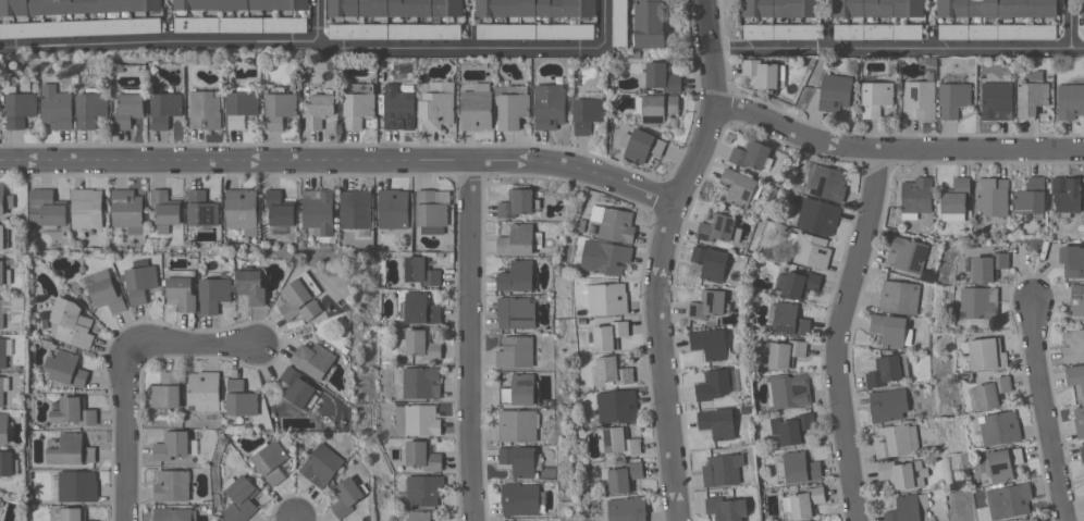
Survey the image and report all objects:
building: (241, 4)
building: (73, 7)
building: (537, 8)
building: (780, 8)
building: (878, 8)
building: (998, 8)
building: (1083, 8)
building: (393, 9)
road: (317, 22)
building: (620, 23)
building: (241, 24)
building: (649, 24)
road: (1072, 25)
building: (79, 27)
building: (395, 30)
building: (535, 30)
building: (779, 30)
building: (998, 30)
building: (878, 32)
building: (1083, 34)
road: (323, 44)
road: (898, 49)
building: (637, 52)
building: (765, 73)
building: (663, 77)
building: (835, 91)
building: (1032, 97)
building: (876, 98)
building: (921, 99)
building: (953, 99)
building: (998, 100)
building: (1070, 100)
building: (358, 103)
building: (550, 106)
building: (58, 107)
building: (91, 107)
building: (130, 107)
building: (242, 107)
building: (280, 107)
building: (436, 107)
building: (477, 108)
building: (513, 108)
building: (21, 109)
building: (165, 109)
building: (206, 109)
building: (655, 109)
building: (319, 110)
building: (399, 110)
building: (587, 114)
building: (643, 146)
road: (896, 149)
building: (752, 154)
road: (342, 160)
building: (828, 183)
building: (740, 187)
building: (1068, 193)
building: (917, 195)
building: (957, 196)
building: (994, 196)
building: (1031, 197)
building: (2, 199)
building: (518, 202)
building: (87, 208)
building: (280, 208)
building: (393, 208)
building: (432, 208)
building: (47, 210)
building: (127, 210)
building: (165, 210)
building: (242, 210)
building: (318, 210)
building: (356, 210)
building: (201, 211)
building: (818, 215)
building: (614, 223)
building: (720, 228)
building: (431, 230)
building: (3, 236)
building: (520, 239)
building: (810, 249)
building: (907, 255)
road: (663, 256)
building: (609, 258)
building: (1072, 261)
building: (711, 262)
building: (988, 266)
building: (421, 271)
building: (4, 274)
building: (519, 276)
building: (140, 280)
building: (252, 284)
building: (800, 284)
building: (182, 289)
building: (214, 293)
building: (107, 295)
building: (301, 297)
building: (899, 297)
building: (605, 298)
building: (1076, 300)
building: (980, 302)
building: (710, 303)
building: (419, 309)
building: (517, 311)
building: (2, 313)
building: (789, 320)
building: (72, 323)
building: (892, 330)
road: (841, 334)
building: (609, 335)
road: (471, 340)
building: (711, 343)
building: (422, 344)
building: (1073, 346)
building: (516, 351)
building: (3, 352)
building: (786, 352)
building: (986, 352)
building: (315, 359)
building: (66, 368)
road: (127, 370)
building: (613, 370)
building: (888, 370)
building: (1075, 374)
building: (421, 382)
building: (714, 384)
building: (3, 387)
building: (297, 387)
building: (519, 389)
building: (205, 390)
building: (788, 390)
building: (165, 392)
building: (993, 392)
building: (241, 398)
building: (889, 405)
building: (617, 406)
building: (74, 411)
road: (1047, 411)
building: (417, 420)
building: (1080, 421)
building: (718, 422)
building: (518, 425)
building: (5, 427)
building: (999, 427)
building: (792, 429)
building: (620, 441)
building: (897, 441)
building: (172, 445)
building: (70, 449)
building: (1082, 451)
building: (421, 455)
building: (270, 460)
building: (519, 460)
building: (7, 462)
building: (1002, 463)
building: (322, 466)
building: (801, 467)
building: (723, 469)
building: (898, 473)
building: (623, 475)
building: (77, 485)
building: (173, 485)
building: (424, 489)
building: (348, 495)
building: (239, 498)
building: (522, 498)
building: (1009, 500)
building: (803, 501)
building: (1, 503)
building: (727, 508)
building: (909, 508)
building: (629, 509)
building: (70, 513)
building: (982, 513)
building: (175, 514)
building: (419, 516)
road: (295, 518)
building: (1030, 519)
building: (512, 520)

